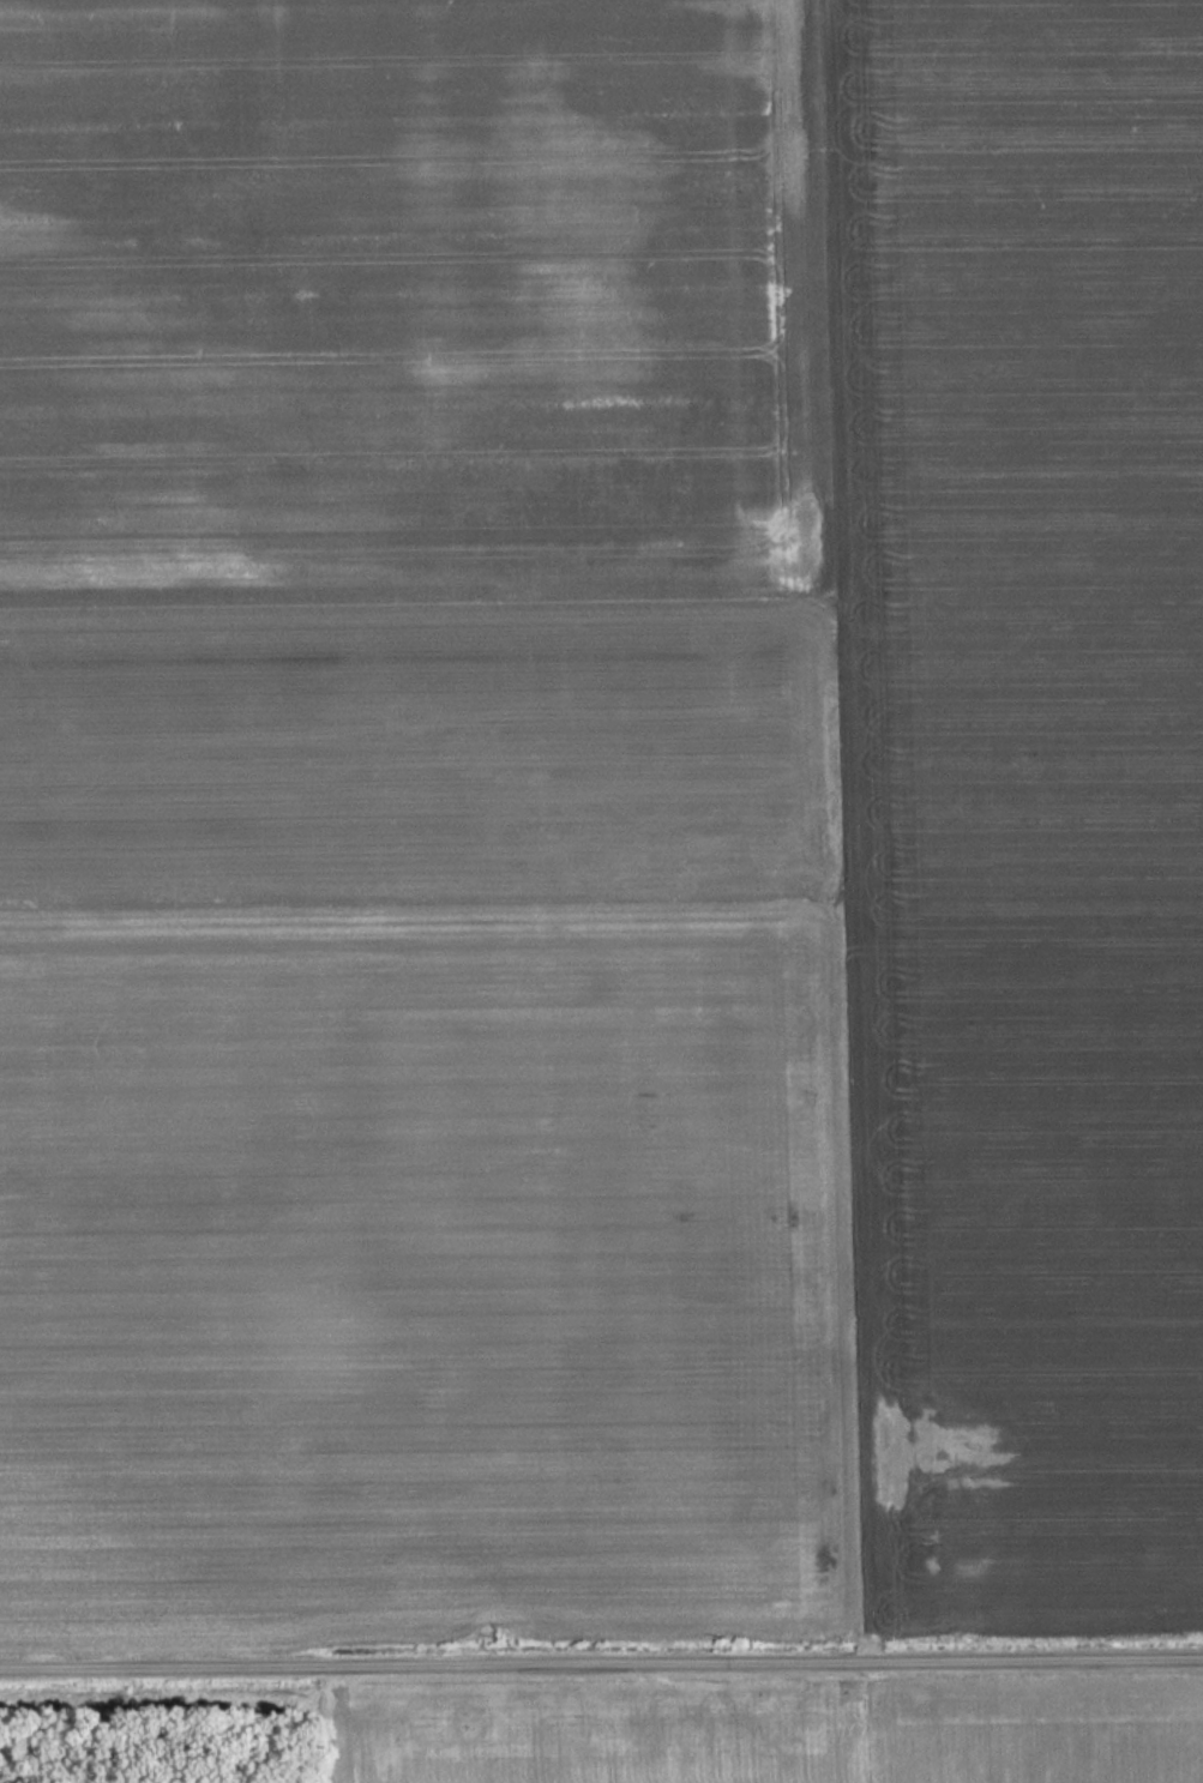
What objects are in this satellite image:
crop: (1017, 801)
crop: (415, 827)
road: (601, 1655)
crop: (1033, 1735)
crop: (600, 1740)

